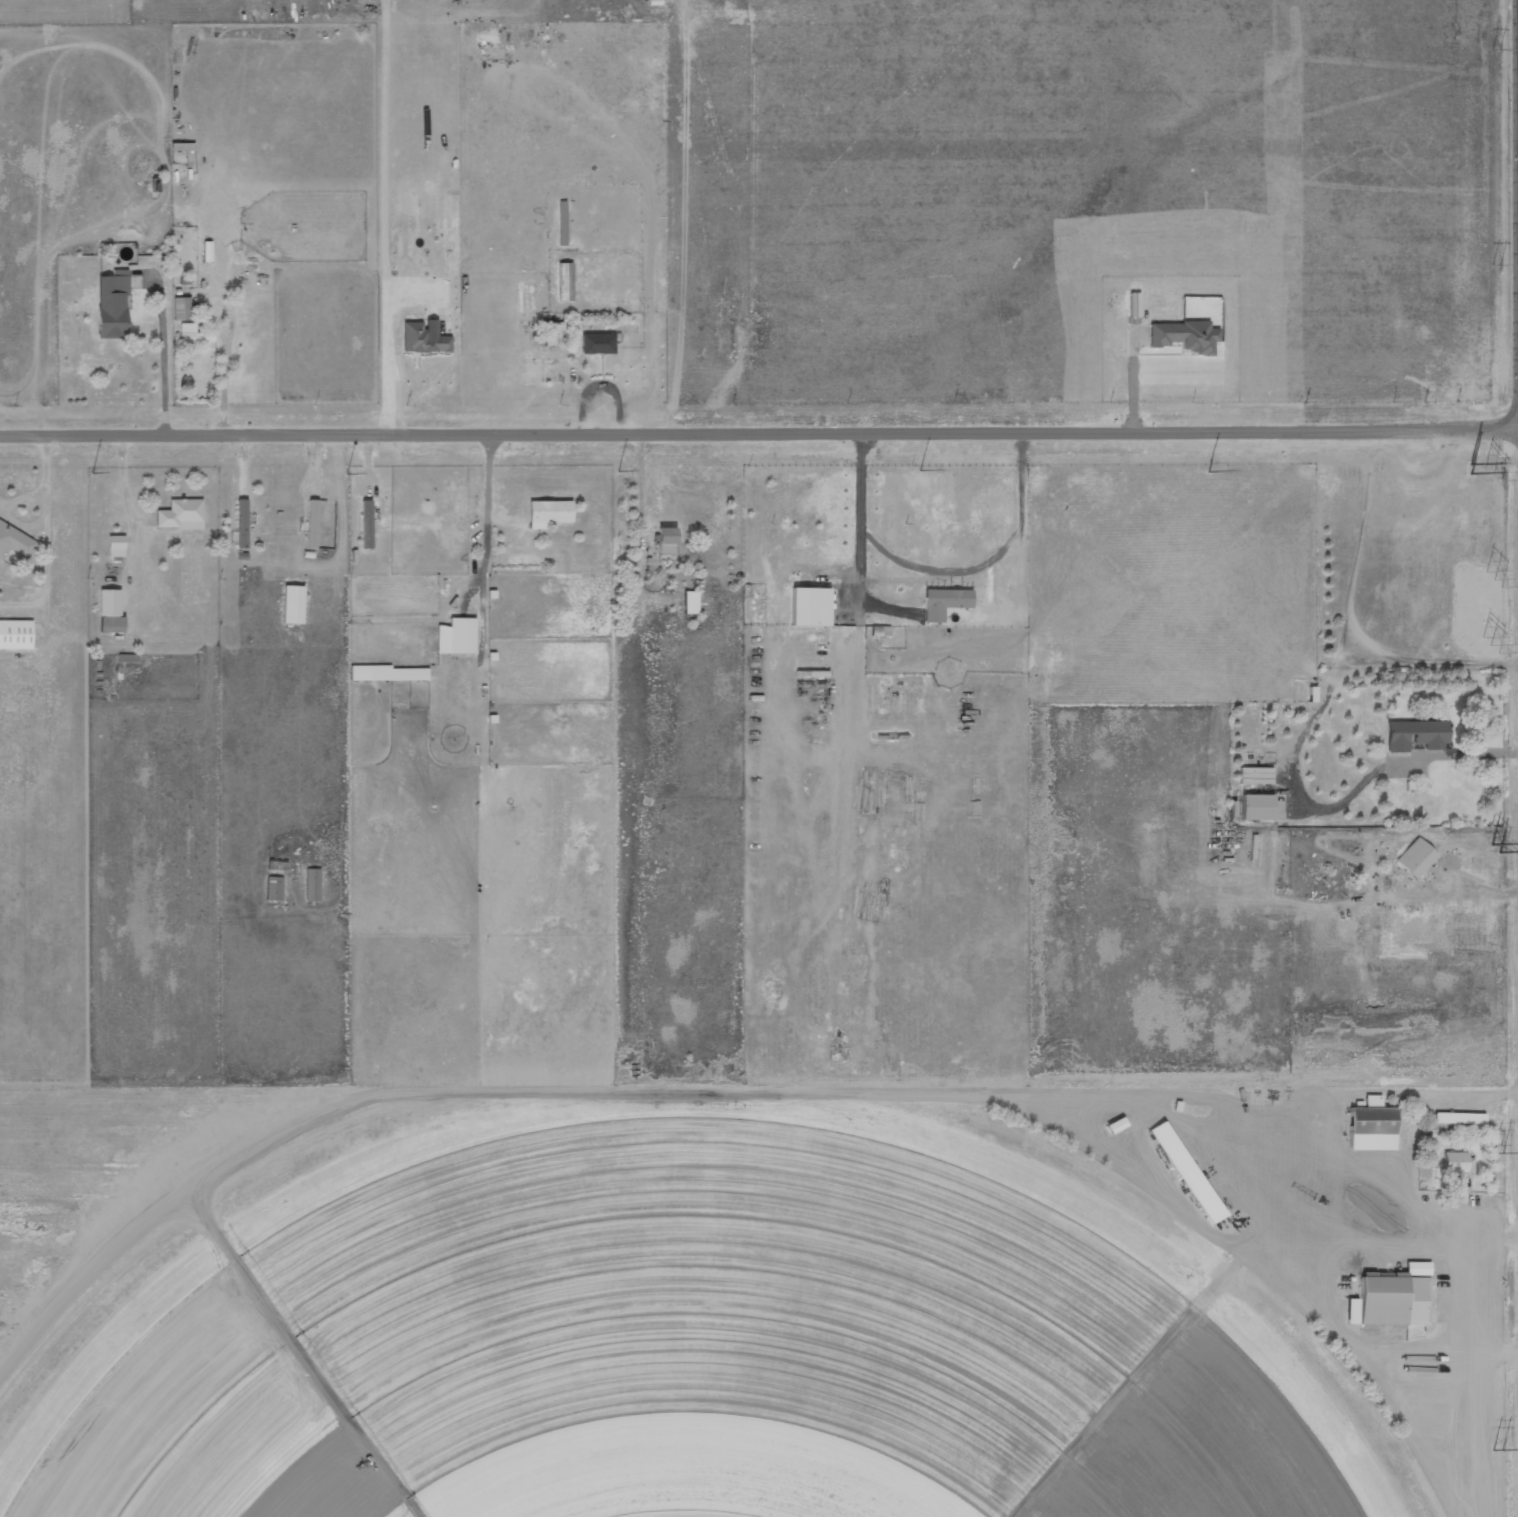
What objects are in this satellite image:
power tower: (1495, 50)
power tower: (1495, 265)
building: (111, 304)
building: (180, 308)
building: (192, 334)
building: (1183, 336)
building: (422, 339)
building: (596, 343)
building: (556, 368)
road: (758, 430)
power tower: (1194, 467)
power tower: (904, 468)
power tower: (612, 470)
power tower: (349, 471)
power tower: (87, 472)
power tower: (1491, 472)
building: (548, 513)
building: (180, 514)
building: (241, 523)
building: (311, 523)
building: (366, 524)
building: (665, 541)
building: (14, 542)
building: (115, 546)
power tower: (1492, 579)
building: (690, 602)
building: (943, 602)
building: (292, 604)
building: (808, 606)
building: (109, 611)
power tower: (1492, 611)
building: (15, 634)
building: (456, 636)
power tower: (1490, 645)
building: (388, 673)
building: (1414, 735)
building: (1254, 775)
building: (1255, 807)
power tower: (1494, 825)
building: (1414, 858)
building: (312, 884)
building: (273, 888)
building: (1457, 1118)
building: (1114, 1125)
building: (1370, 1126)
power tower: (1495, 1145)
building: (1456, 1163)
building: (1185, 1172)
building: (1415, 1268)
building: (1389, 1301)
power tower: (1496, 1451)

